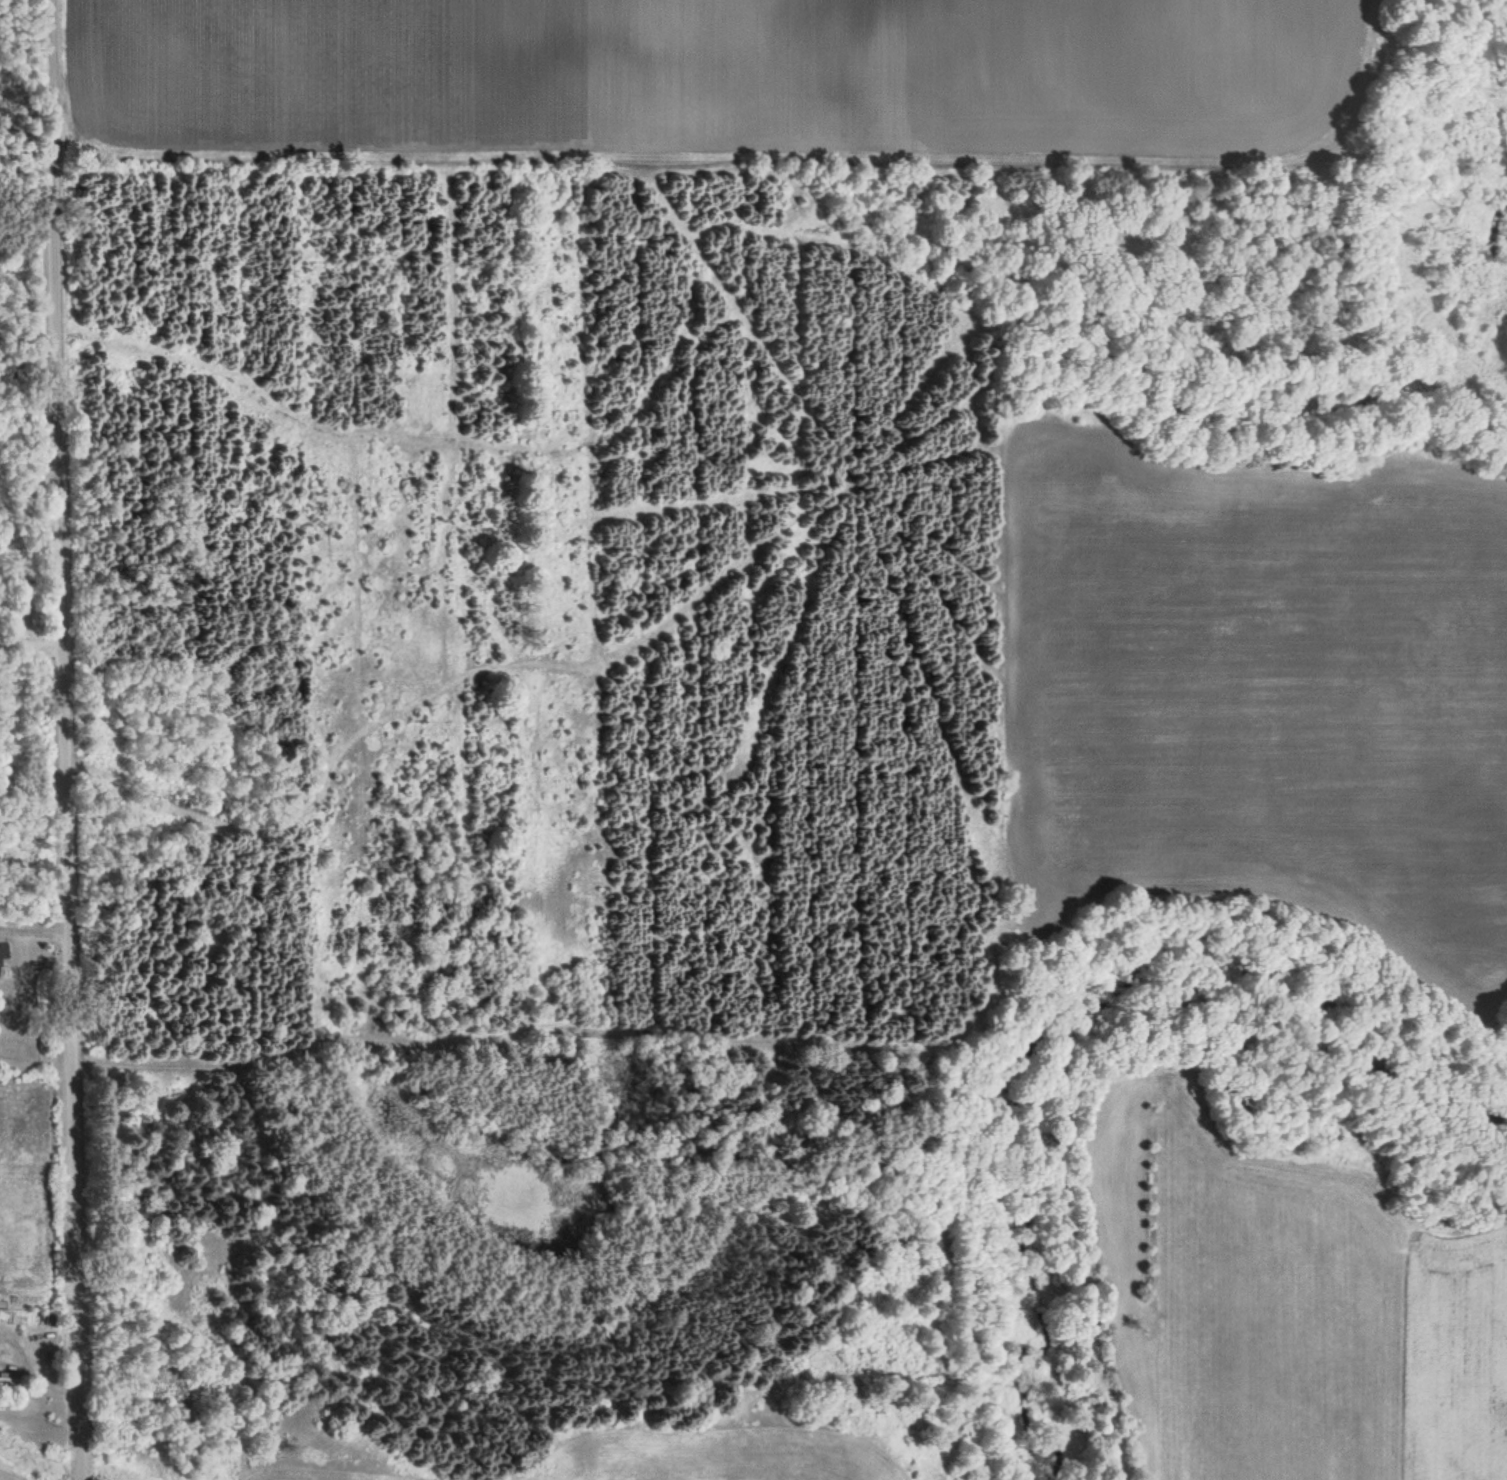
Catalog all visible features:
road: (64, 740)
building: (4, 953)
building: (9, 1383)

